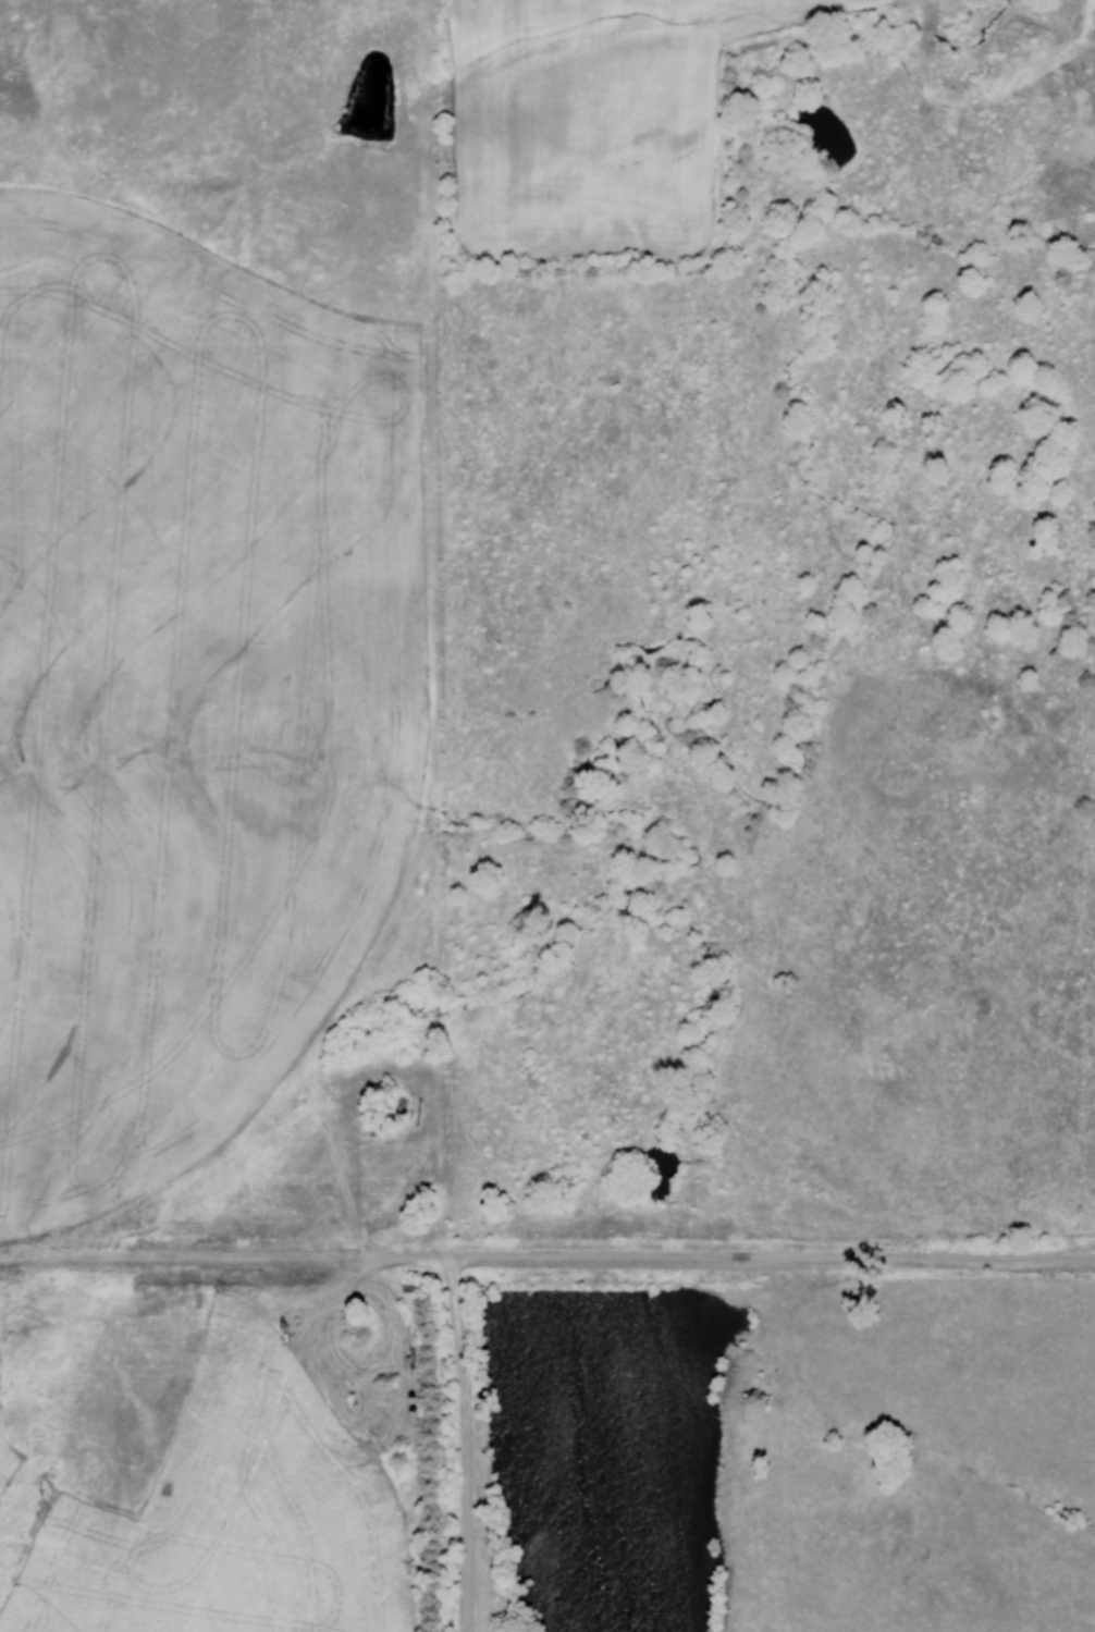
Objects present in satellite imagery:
road: (547, 1265)

